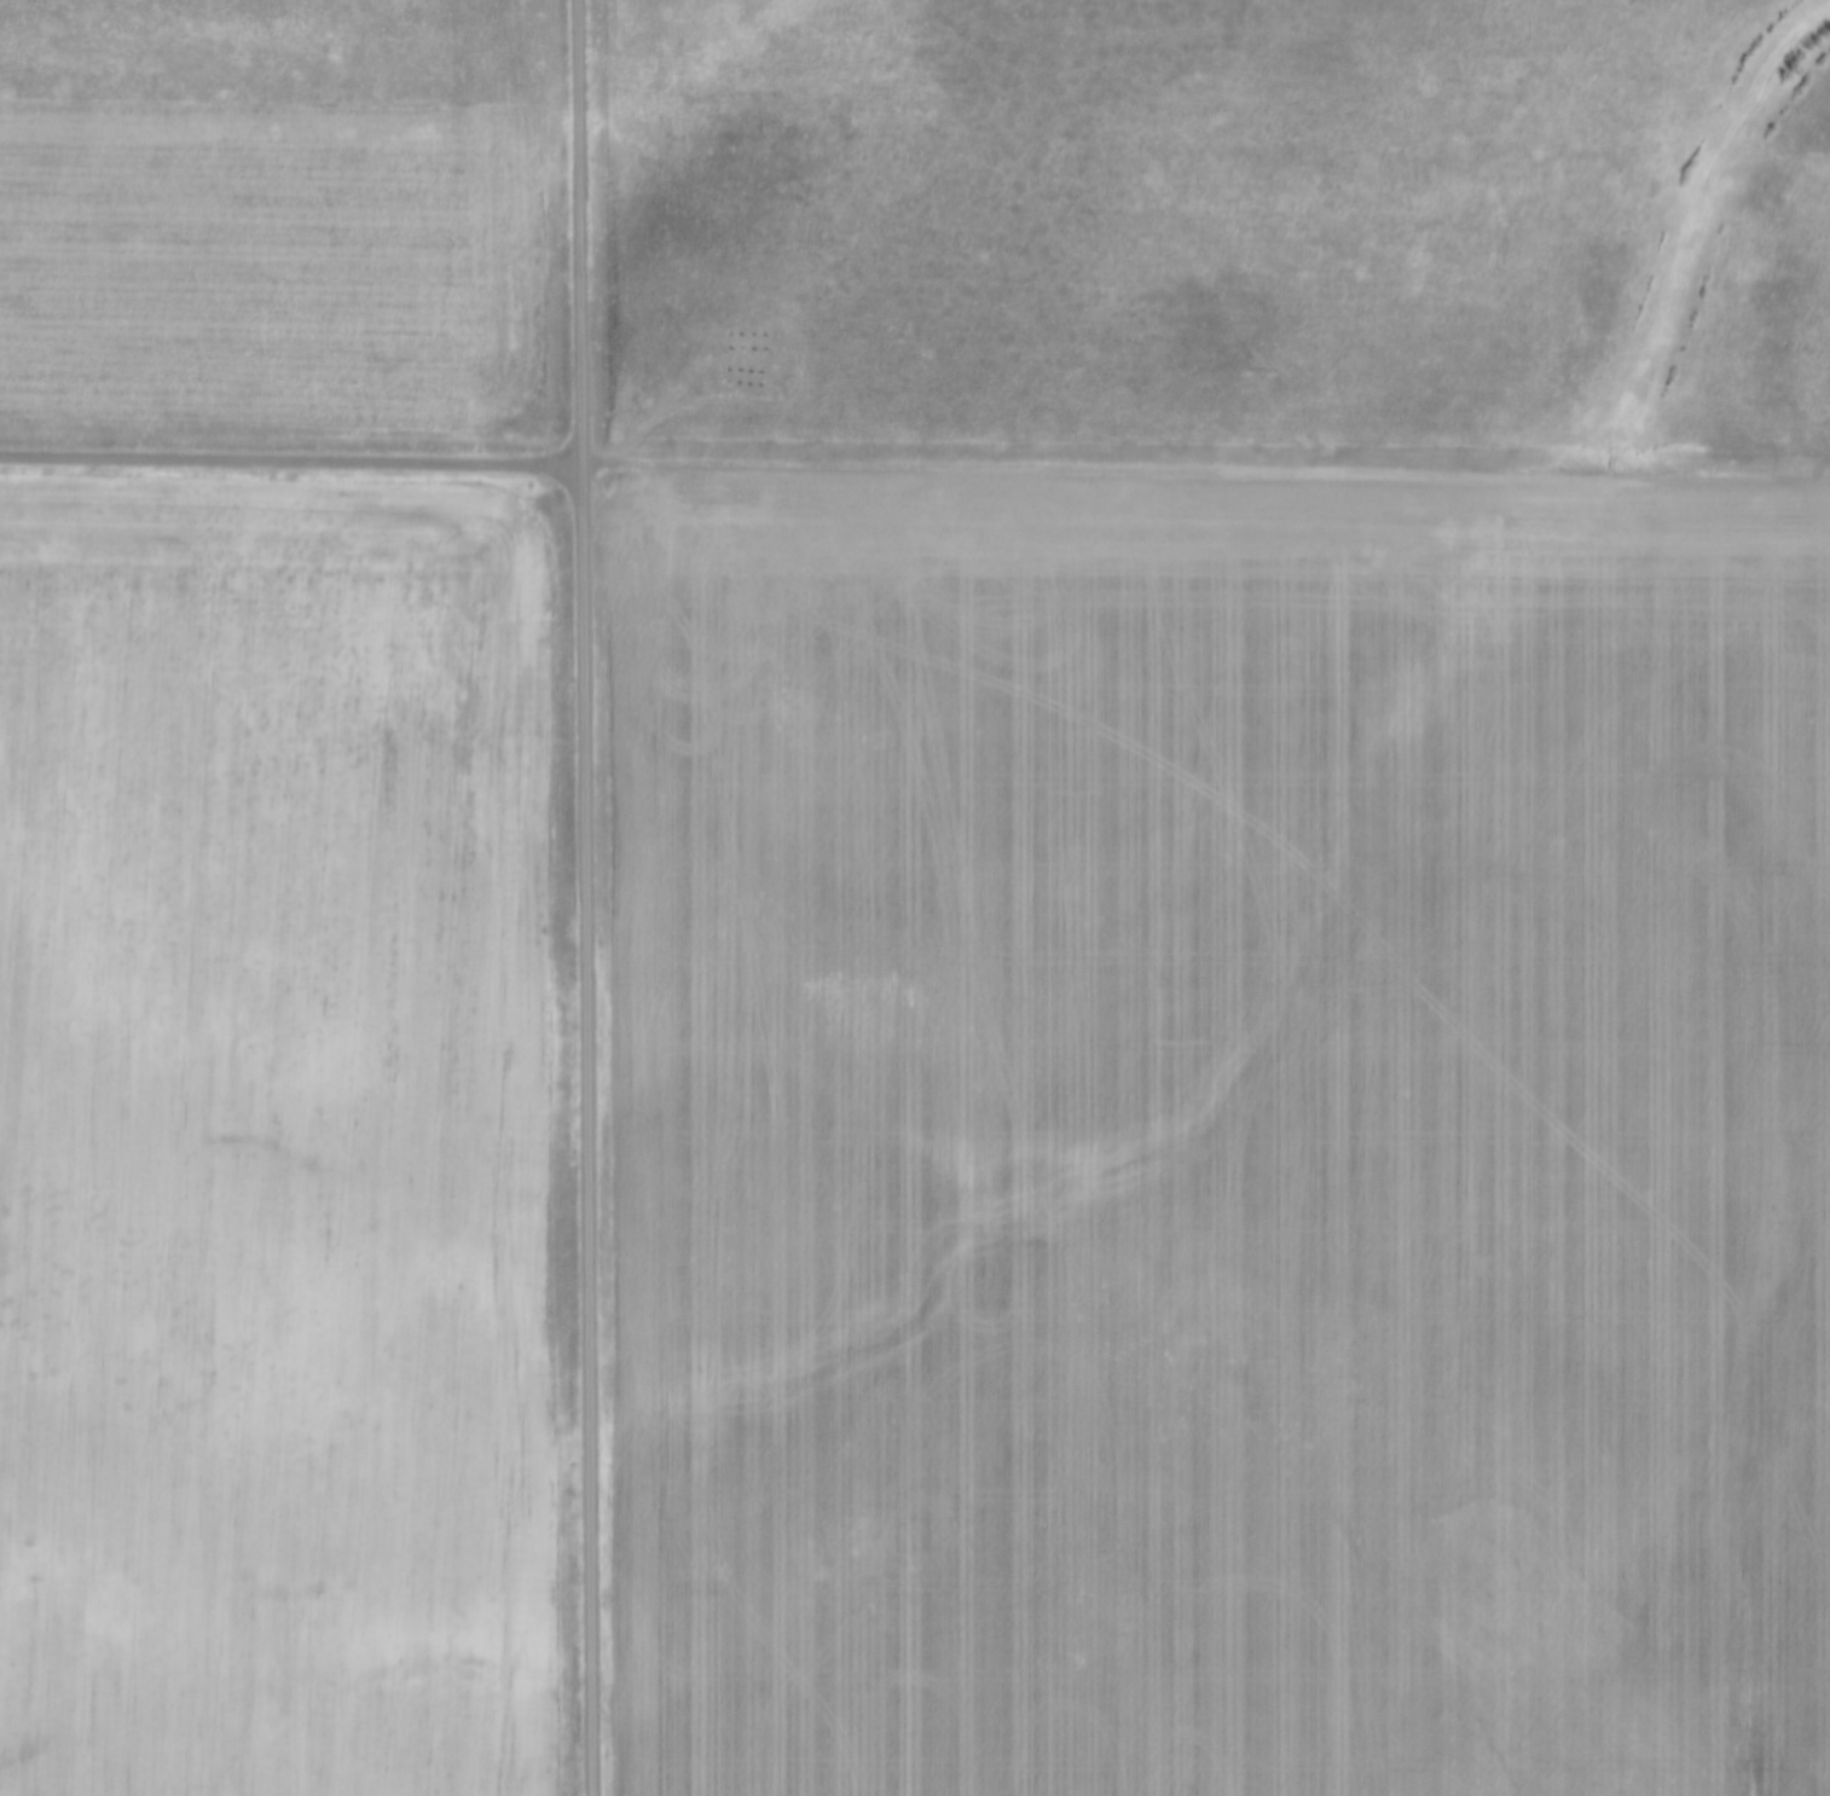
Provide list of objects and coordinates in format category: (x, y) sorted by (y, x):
road: (294, 465)
road: (1209, 477)
road: (589, 897)

